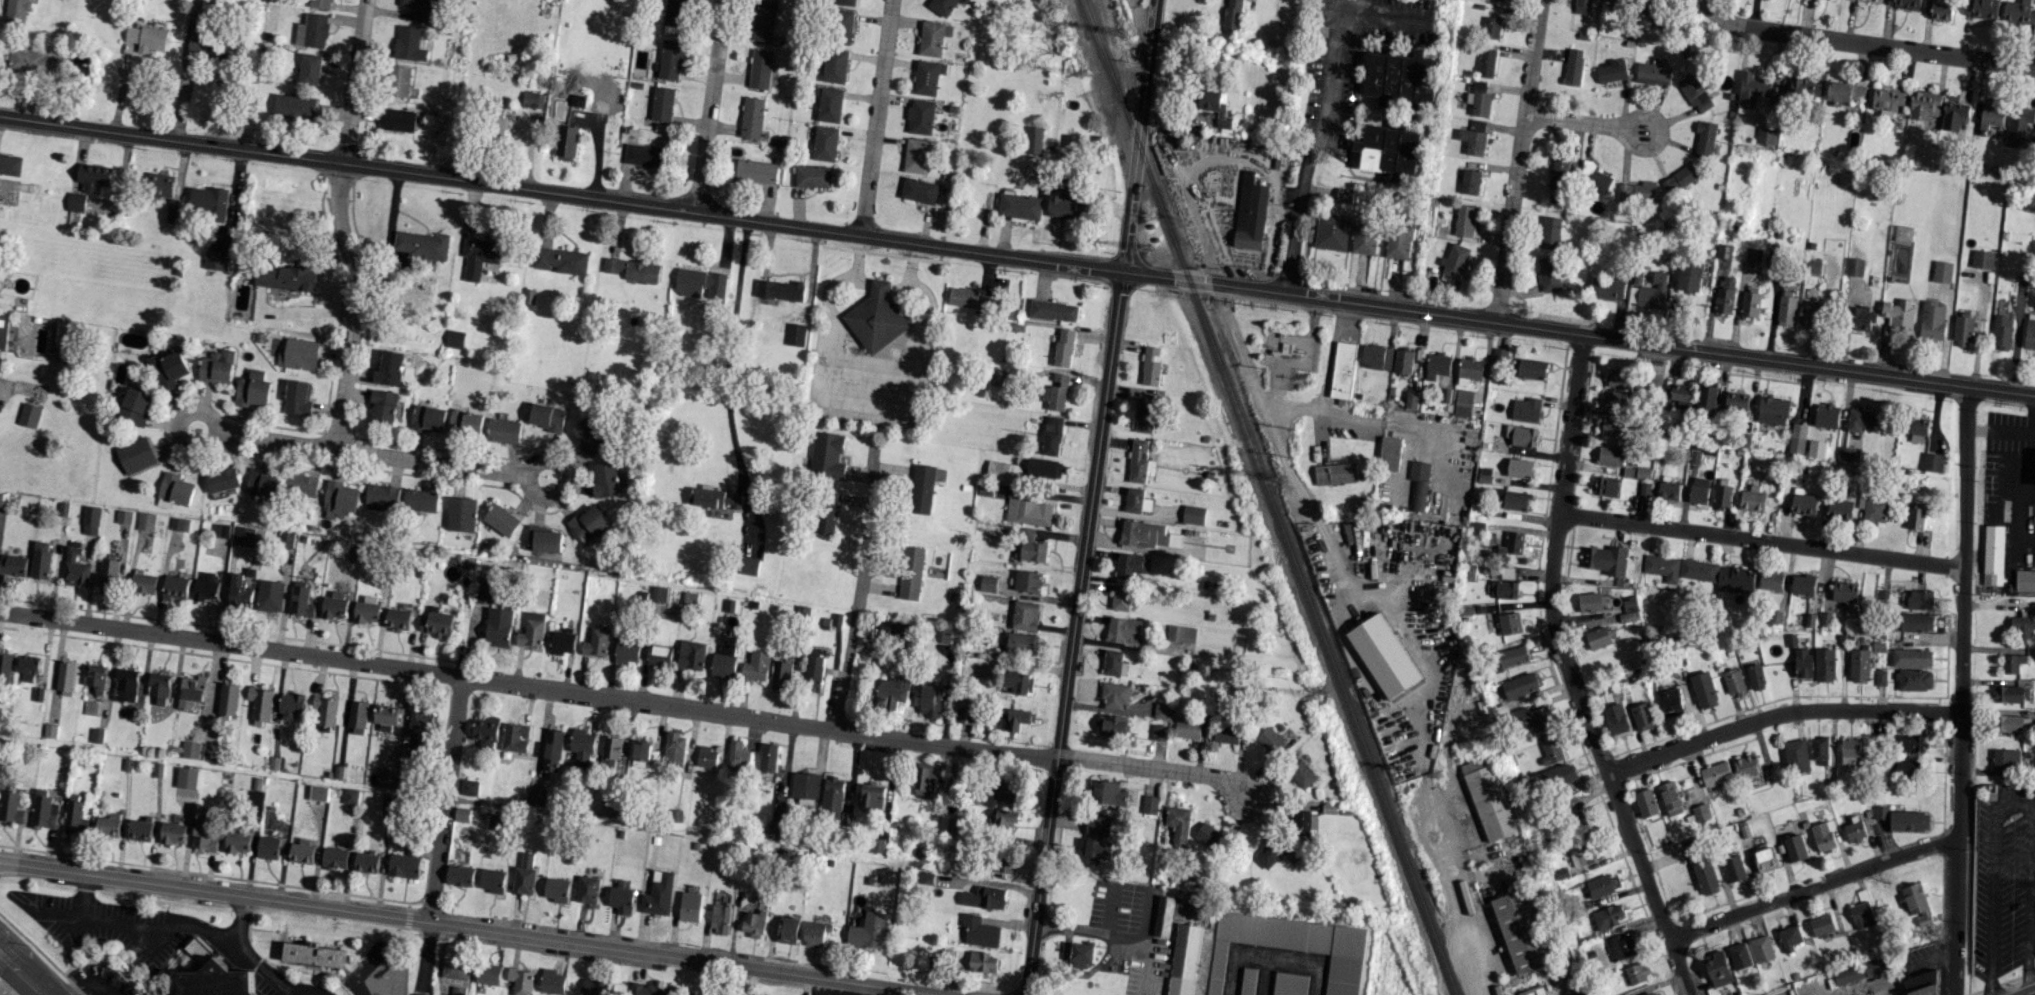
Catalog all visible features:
building: (1867, 0)
building: (839, 1)
building: (1614, 1)
building: (320, 3)
building: (1904, 3)
building: (943, 6)
building: (1581, 6)
building: (1981, 8)
building: (419, 9)
building: (1938, 9)
building: (674, 12)
building: (2019, 12)
building: (16, 13)
road: (1139, 13)
building: (1233, 14)
road: (1379, 15)
building: (764, 20)
building: (846, 20)
building: (1490, 27)
building: (312, 31)
power tower: (1125, 32)
building: (933, 37)
building: (146, 38)
road: (1864, 43)
building: (205, 44)
building: (409, 44)
building: (669, 59)
building: (38, 61)
building: (1485, 62)
building: (835, 65)
building: (1573, 66)
building: (760, 68)
building: (309, 69)
building: (1612, 70)
building: (1653, 73)
power tower: (1082, 75)
building: (928, 76)
building: (1401, 77)
building: (398, 81)
building: (1805, 88)
building: (1846, 91)
building: (1694, 92)
building: (1753, 92)
building: (1478, 98)
building: (1887, 101)
building: (662, 103)
building: (830, 104)
building: (1924, 104)
road: (709, 106)
building: (1215, 106)
building: (295, 107)
building: (1991, 114)
building: (1954, 115)
building: (920, 116)
building: (752, 117)
road: (876, 117)
building: (399, 120)
road: (1585, 123)
building: (2018, 125)
building: (1766, 134)
building: (1473, 136)
building: (1034, 139)
building: (1704, 139)
building: (566, 142)
building: (826, 143)
building: (1388, 150)
road: (1313, 151)
building: (643, 154)
road: (1518, 160)
building: (10, 163)
building: (757, 170)
building: (1562, 172)
building: (812, 176)
building: (1594, 177)
building: (93, 178)
building: (1679, 178)
building: (1469, 181)
building: (161, 185)
building: (919, 189)
building: (1636, 192)
building: (1344, 194)
building: (209, 201)
building: (76, 202)
building: (1061, 203)
building: (1028, 207)
building: (171, 208)
building: (1250, 212)
building: (1464, 220)
road: (339, 224)
building: (1332, 231)
building: (1549, 233)
building: (1364, 237)
building: (1398, 242)
building: (422, 245)
power tower: (1147, 247)
building: (1724, 251)
building: (1753, 254)
building: (479, 256)
building: (542, 256)
road: (1017, 256)
building: (1982, 258)
building: (1454, 259)
building: (215, 260)
road: (855, 266)
building: (1854, 266)
building: (633, 269)
building: (1942, 271)
building: (1549, 273)
road: (910, 276)
building: (286, 278)
building: (1688, 278)
road: (879, 285)
building: (778, 290)
building: (1653, 291)
building: (1724, 298)
building: (1751, 301)
building: (1787, 308)
building: (1052, 309)
building: (1809, 313)
building: (1899, 315)
building: (875, 317)
building: (1859, 317)
building: (1932, 321)
building: (1011, 324)
building: (2, 330)
building: (1962, 330)
building: (2002, 333)
building: (2029, 333)
building: (454, 339)
building: (1063, 347)
road: (728, 353)
building: (298, 354)
building: (1499, 355)
building: (1376, 356)
road: (870, 361)
building: (1402, 361)
building: (1437, 365)
building: (1150, 366)
building: (217, 367)
building: (390, 367)
building: (1530, 368)
building: (168, 369)
building: (1469, 369)
building: (1342, 371)
building: (1622, 378)
building: (252, 389)
building: (1055, 391)
building: (1445, 394)
building: (1682, 395)
building: (296, 398)
building: (1412, 399)
building: (1617, 400)
building: (1708, 401)
building: (1736, 401)
building: (1464, 402)
building: (383, 406)
building: (135, 407)
building: (1526, 409)
building: (1773, 410)
building: (1145, 412)
building: (28, 415)
building: (1827, 415)
building: (427, 419)
road: (1372, 420)
building: (1864, 420)
building: (465, 424)
road: (177, 426)
building: (1613, 426)
building: (1916, 428)
building: (505, 430)
building: (1051, 435)
building: (1522, 435)
building: (1797, 438)
road: (1276, 441)
road: (2030, 441)
building: (1816, 448)
road: (369, 452)
building: (1389, 453)
building: (135, 455)
building: (826, 455)
building: (1611, 455)
building: (1138, 460)
building: (1932, 461)
building: (1043, 467)
building: (1519, 467)
building: (1642, 472)
building: (1335, 473)
road: (525, 476)
building: (221, 479)
power tower: (1284, 479)
building: (605, 480)
building: (262, 484)
building: (1418, 484)
building: (302, 485)
building: (1607, 485)
building: (921, 488)
building: (175, 489)
building: (1644, 489)
building: (1668, 490)
building: (1699, 490)
building: (382, 495)
building: (1722, 495)
railway: (1271, 496)
building: (340, 497)
road: (1090, 497)
building: (1512, 499)
building: (1752, 499)
building: (420, 500)
building: (1136, 500)
building: (1803, 503)
road: (2024, 504)
building: (1839, 508)
building: (1875, 509)
building: (1033, 512)
building: (460, 514)
building: (1194, 514)
building: (123, 516)
building: (1916, 516)
building: (501, 519)
building: (91, 520)
building: (145, 521)
building: (178, 523)
building: (588, 523)
building: (220, 530)
building: (1146, 534)
building: (243, 536)
building: (285, 539)
building: (1512, 543)
road: (1760, 543)
building: (1032, 546)
building: (1607, 559)
building: (41, 560)
building: (1131, 564)
building: (13, 565)
building: (1661, 566)
building: (76, 568)
building: (1698, 569)
building: (108, 573)
building: (1735, 579)
building: (2025, 579)
building: (1771, 580)
building: (1028, 581)
building: (143, 583)
building: (1803, 584)
road: (858, 585)
building: (205, 586)
building: (175, 587)
building: (1504, 589)
building: (240, 591)
building: (1844, 591)
building: (484, 592)
building: (270, 597)
building: (1121, 597)
building: (1921, 599)
building: (301, 601)
building: (1589, 601)
building: (334, 608)
building: (1629, 609)
building: (366, 612)
building: (1026, 615)
building: (1211, 616)
building: (398, 619)
building: (1916, 621)
building: (436, 623)
building: (1509, 623)
building: (2023, 623)
building: (498, 626)
building: (531, 630)
building: (1124, 630)
building: (1182, 633)
building: (1599, 637)
road: (471, 641)
building: (561, 642)
building: (595, 642)
building: (1026, 643)
road: (231, 644)
building: (625, 650)
building: (690, 654)
building: (1383, 655)
building: (1512, 657)
building: (1911, 657)
building: (1114, 662)
building: (1803, 662)
building: (1859, 662)
building: (2012, 662)
building: (5, 664)
building: (723, 664)
building: (1824, 664)
building: (756, 665)
building: (28, 668)
road: (1568, 672)
building: (65, 677)
building: (95, 677)
building: (1755, 677)
building: (1880, 677)
building: (1914, 679)
building: (1023, 682)
building: (1734, 682)
building: (126, 685)
building: (1519, 685)
building: (159, 688)
building: (1703, 689)
road: (1962, 690)
building: (891, 691)
building: (191, 692)
building: (2009, 693)
building: (1114, 695)
power tower: (1316, 696)
building: (228, 699)
building: (930, 701)
building: (1669, 703)
building: (260, 704)
building: (291, 706)
building: (325, 710)
building: (1163, 710)
road: (1779, 712)
building: (971, 713)
building: (1642, 716)
building: (357, 717)
building: (1022, 717)
building: (385, 718)
road: (759, 719)
building: (1616, 719)
building: (1534, 720)
building: (2011, 723)
building: (1112, 725)
building: (1187, 727)
building: (484, 731)
building: (1160, 732)
building: (417, 733)
building: (1226, 733)
building: (96, 735)
building: (514, 737)
building: (1270, 739)
building: (1910, 742)
building: (580, 746)
building: (550, 749)
building: (1820, 749)
building: (190, 750)
building: (609, 750)
building: (638, 750)
building: (1551, 751)
building: (1850, 751)
building: (209, 752)
building: (1796, 755)
building: (706, 756)
building: (767, 757)
building: (2005, 758)
building: (1746, 765)
road: (1154, 768)
building: (158, 769)
building: (1905, 769)
building: (1302, 773)
building: (1715, 773)
building: (1559, 775)
power tower: (1439, 776)
building: (385, 777)
building: (187, 778)
building: (924, 778)
building: (804, 785)
building: (468, 787)
building: (318, 793)
building: (1107, 793)
building: (350, 796)
building: (1490, 797)
building: (1669, 798)
road: (445, 799)
building: (834, 799)
building: (1646, 802)
building: (1150, 804)
road: (2014, 807)
road: (2033, 807)
building: (10, 808)
building: (43, 810)
building: (1881, 811)
building: (1700, 812)
building: (461, 814)
building: (1006, 816)
building: (74, 817)
building: (1909, 820)
building: (1307, 821)
building: (494, 822)
building: (1178, 823)
building: (108, 825)
building: (140, 829)
building: (173, 831)
building: (1854, 831)
building: (1208, 835)
building: (1823, 835)
building: (1097, 838)
building: (238, 840)
building: (268, 847)
building: (1794, 847)
building: (302, 851)
building: (1268, 854)
building: (1584, 854)
building: (334, 858)
building: (1765, 859)
building: (366, 862)
building: (404, 864)
building: (1734, 868)
building: (523, 874)
building: (459, 875)
building: (1705, 875)
building: (492, 880)
building: (1600, 886)
building: (553, 888)
building: (586, 889)
road: (1814, 890)
building: (657, 895)
road: (83, 896)
building: (619, 898)
road: (1992, 900)
road: (2029, 901)
building: (1916, 903)
road: (1459, 905)
building: (1862, 914)
building: (1166, 915)
building: (1607, 916)
building: (754, 922)
building: (1822, 924)
road: (141, 925)
road: (470, 928)
building: (867, 930)
road: (1085, 930)
building: (1523, 930)
building: (980, 933)
building: (1789, 937)
building: (1291, 945)
building: (1621, 947)
building: (1762, 948)
building: (312, 954)
building: (1081, 954)
building: (1740, 955)
road: (249, 956)
road: (423, 958)
building: (1185, 959)
building: (455, 968)
building: (1717, 968)
road: (362, 969)
building: (1855, 971)
building: (1637, 973)
road: (22, 974)
building: (487, 974)
road: (94, 978)
road: (705, 978)
building: (1247, 980)
building: (217, 981)
building: (519, 981)
road: (10, 982)
building: (1289, 983)
building: (1921, 984)
road: (816, 986)
building: (648, 989)
road: (857, 989)
building: (457, 990)
building: (1653, 993)

